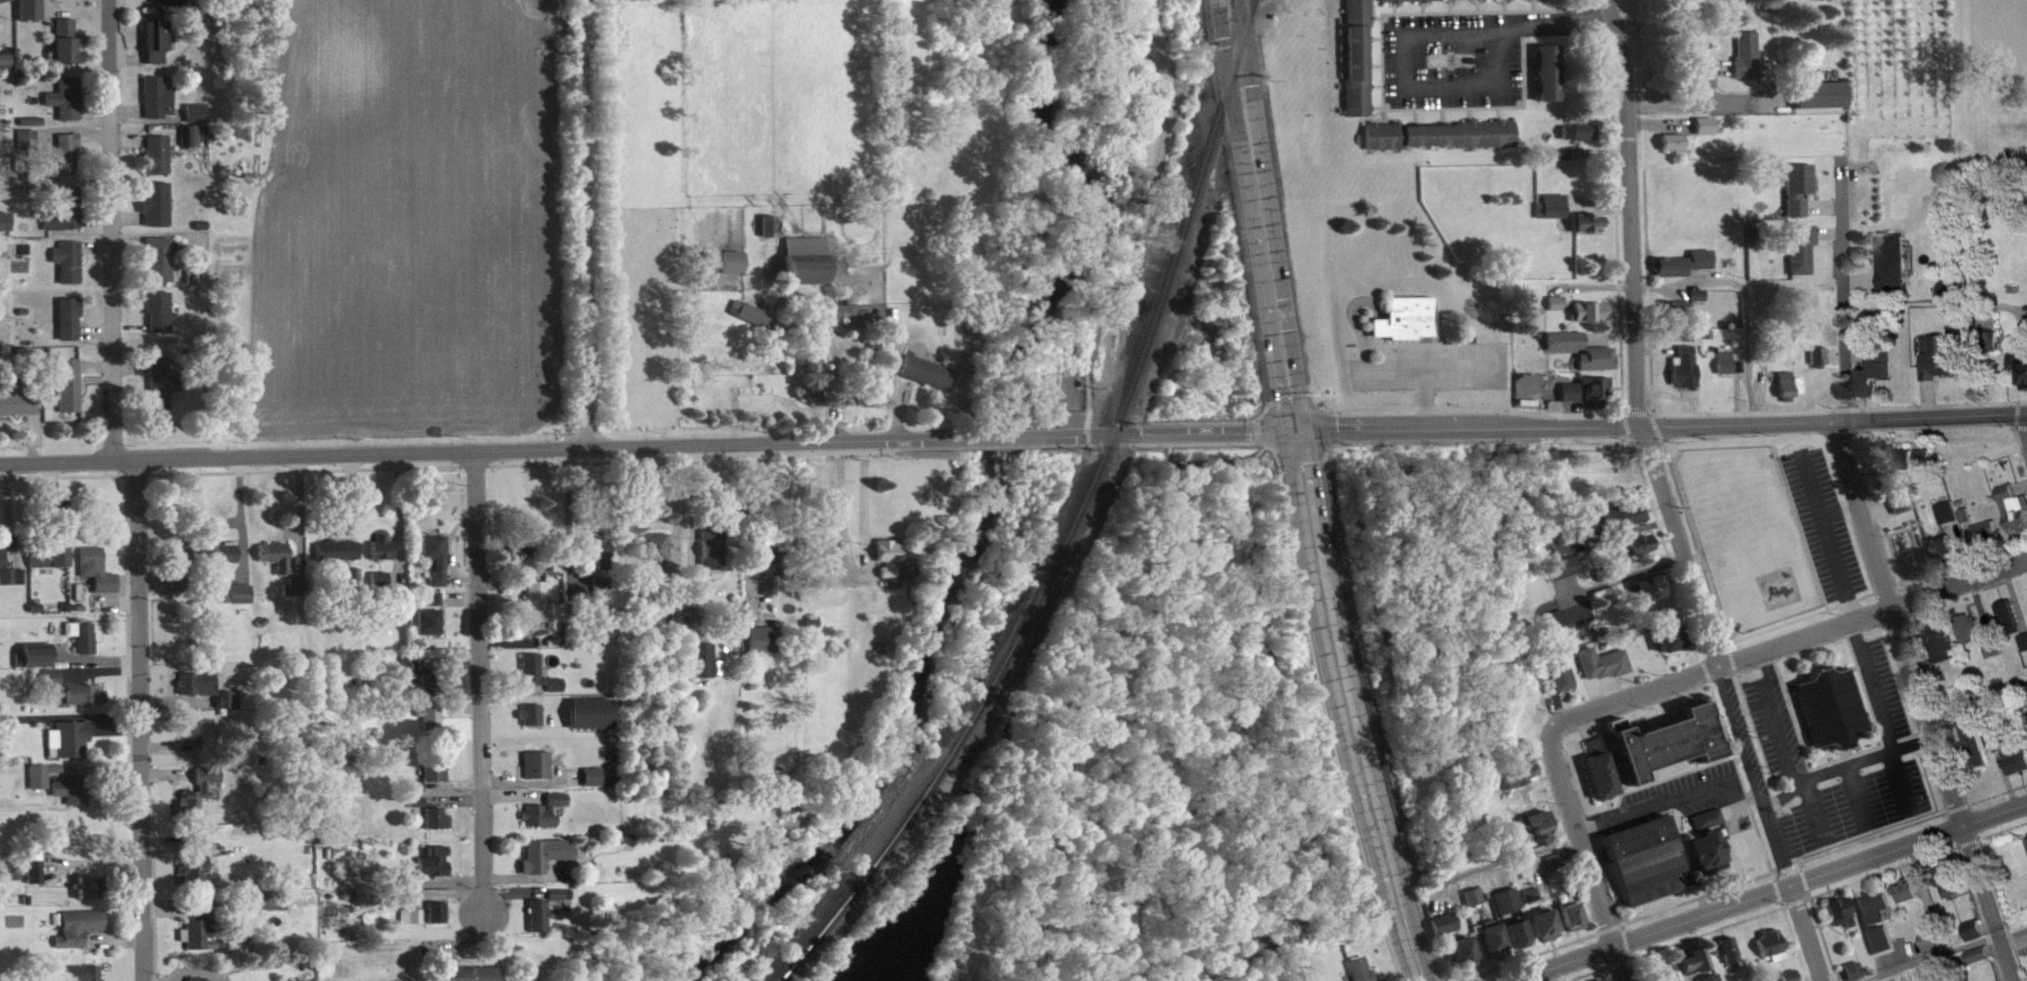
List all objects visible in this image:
building: (1455, 4)
building: (4, 5)
building: (177, 7)
building: (31, 14)
building: (1358, 16)
road: (1416, 33)
building: (66, 49)
building: (157, 49)
building: (1745, 52)
road: (1708, 66)
building: (5, 67)
building: (1357, 81)
building: (1549, 81)
road: (1702, 88)
building: (1817, 93)
road: (1745, 99)
building: (158, 106)
building: (67, 107)
building: (198, 121)
building: (1702, 123)
road: (1660, 124)
building: (1576, 130)
building: (1707, 134)
building: (1673, 140)
building: (1580, 141)
building: (1440, 143)
building: (191, 145)
building: (30, 149)
road: (1597, 150)
building: (1678, 151)
building: (1561, 152)
building: (66, 161)
building: (158, 163)
building: (1796, 186)
road: (1614, 200)
building: (1550, 204)
road: (1596, 206)
road: (1823, 206)
road: (1139, 207)
road: (1629, 210)
building: (156, 211)
building: (1553, 215)
building: (67, 219)
building: (1584, 221)
road: (104, 229)
building: (6, 230)
building: (1589, 231)
road: (1828, 232)
building: (771, 234)
building: (1798, 246)
building: (1891, 261)
building: (1680, 262)
building: (160, 267)
building: (808, 269)
building: (70, 270)
building: (735, 271)
building: (1685, 272)
road: (1861, 279)
road: (1590, 285)
road: (1844, 289)
building: (1695, 293)
road: (1746, 299)
building: (1553, 301)
building: (1953, 301)
building: (1689, 309)
building: (1588, 310)
building: (1668, 311)
building: (1557, 312)
building: (160, 320)
building: (1592, 320)
building: (752, 322)
building: (70, 327)
building: (1406, 327)
road: (1968, 331)
road: (1607, 335)
building: (1683, 335)
building: (1563, 338)
building: (1988, 339)
building: (1567, 349)
road: (1655, 349)
building: (1816, 353)
road: (1855, 353)
road: (1834, 355)
building: (1937, 356)
building: (1595, 357)
building: (1721, 360)
building: (2019, 363)
building: (1821, 364)
building: (1735, 365)
building: (1681, 366)
building: (1599, 367)
building: (1874, 368)
building: (1726, 370)
building: (928, 381)
building: (1785, 384)
building: (1594, 387)
building: (812, 388)
building: (1568, 390)
building: (163, 392)
building: (71, 393)
road: (1671, 394)
road: (1734, 396)
road: (1928, 397)
road: (1287, 398)
building: (1572, 400)
building: (19, 407)
road: (1522, 409)
road: (1636, 411)
road: (1569, 412)
road: (1696, 412)
road: (2015, 413)
road: (2025, 418)
road: (1834, 420)
road: (2020, 425)
road: (1467, 426)
road: (1085, 427)
traffic signals: (1293, 430)
road: (1922, 432)
road: (1165, 433)
road: (991, 438)
road: (1184, 443)
road: (2020, 446)
road: (472, 452)
building: (1921, 456)
building: (1896, 457)
road: (1205, 461)
building: (1926, 466)
building: (1905, 468)
road: (2020, 484)
building: (1897, 501)
building: (1960, 501)
building: (2013, 506)
road: (1839, 508)
road: (1875, 509)
building: (1945, 510)
building: (1901, 511)
building: (1964, 514)
building: (1621, 515)
railway: (1071, 518)
building: (1950, 521)
parking lot: (1823, 522)
building: (1627, 525)
road: (1620, 531)
building: (1985, 531)
road: (1802, 532)
road: (1827, 534)
building: (1989, 541)
building: (1559, 544)
building: (1636, 544)
building: (1940, 546)
road: (1974, 547)
road: (1961, 549)
building: (1642, 553)
building: (658, 555)
building: (1563, 555)
building: (384, 556)
building: (714, 556)
building: (1945, 556)
building: (339, 559)
building: (602, 560)
building: (227, 561)
building: (185, 563)
building: (277, 564)
building: (51, 565)
building: (890, 565)
building: (438, 566)
building: (1560, 566)
building: (826, 567)
building: (1603, 571)
building: (768, 573)
road: (854, 574)
building: (1564, 577)
building: (99, 578)
building: (10, 579)
building: (1648, 587)
building: (355, 588)
road: (1887, 592)
building: (297, 595)
building: (769, 595)
road: (1558, 599)
road: (2014, 599)
building: (603, 601)
building: (242, 602)
road: (1715, 605)
building: (435, 607)
building: (692, 607)
road: (1980, 608)
building: (544, 615)
building: (2007, 615)
road: (1801, 616)
building: (1554, 619)
building: (1966, 626)
building: (432, 630)
building: (1667, 634)
road: (1730, 635)
building: (1939, 640)
building: (2022, 640)
road: (1786, 641)
road: (1712, 643)
building: (84, 644)
building: (1990, 646)
road: (1916, 647)
building: (765, 648)
building: (2025, 650)
road: (1896, 657)
building: (1995, 657)
road: (1921, 659)
building: (1601, 662)
building: (36, 664)
building: (704, 669)
building: (1559, 669)
building: (421, 682)
building: (540, 682)
road: (478, 683)
parking lot: (1881, 687)
road: (1593, 691)
building: (199, 692)
road: (1715, 695)
road: (1976, 697)
building: (2024, 698)
road: (1922, 701)
building: (87, 703)
road: (1749, 704)
building: (230, 708)
building: (1828, 708)
road: (1629, 709)
road: (1880, 716)
road: (143, 720)
building: (593, 722)
building: (533, 723)
road: (1943, 723)
parking lot: (1773, 724)
building: (432, 726)
road: (1101, 731)
building: (1971, 736)
building: (192, 739)
building: (1664, 744)
road: (1783, 745)
building: (72, 747)
building: (2009, 754)
road: (1845, 764)
building: (1597, 769)
park: (1137, 772)
building: (539, 773)
parking lot: (1755, 773)
building: (1514, 774)
road: (2006, 778)
building: (438, 779)
road: (1531, 784)
building: (41, 785)
building: (594, 785)
building: (1517, 785)
parking lot: (1685, 795)
road: (1856, 795)
building: (74, 798)
building: (202, 798)
road: (1667, 799)
parking lot: (1855, 805)
building: (419, 810)
building: (548, 819)
building: (1526, 821)
road: (1912, 821)
building: (439, 827)
building: (1530, 835)
building: (1706, 840)
road: (1570, 843)
road: (1585, 856)
building: (1645, 856)
road: (1503, 859)
building: (1552, 859)
building: (548, 863)
road: (1783, 863)
building: (436, 870)
building: (1556, 870)
building: (201, 872)
building: (38, 876)
building: (1949, 877)
road: (1923, 885)
building: (1907, 887)
road: (1395, 888)
building: (1529, 892)
road: (1767, 892)
building: (90, 896)
building: (1910, 900)
road: (1794, 901)
building: (562, 903)
building: (1474, 905)
road: (2003, 908)
building: (1508, 909)
building: (1839, 909)
building: (1571, 912)
road: (1980, 912)
building: (205, 915)
building: (1875, 916)
road: (1817, 919)
building: (439, 921)
building: (1543, 921)
road: (1988, 922)
road: (1623, 923)
building: (540, 924)
building: (412, 925)
building: (1973, 927)
building: (1446, 932)
road: (1805, 932)
building: (81, 936)
building: (1929, 938)
building: (1976, 938)
building: (199, 941)
building: (1520, 941)
building: (1769, 941)
building: (1494, 945)
building: (1725, 946)
building: (1933, 948)
building: (1882, 949)
road: (1628, 952)
road: (1944, 952)
building: (1692, 957)
building: (1464, 959)
road: (1886, 960)
building: (1980, 964)
road: (1806, 968)
building: (1852, 968)
building: (1695, 969)
building: (1867, 969)
road: (1610, 973)
building: (1361, 974)
building: (1789, 974)
building: (1668, 976)
building: (1708, 976)
road: (1834, 976)
building: (1858, 976)
building: (82, 977)
building: (472, 978)
building: (1600, 979)
building: (1795, 980)

